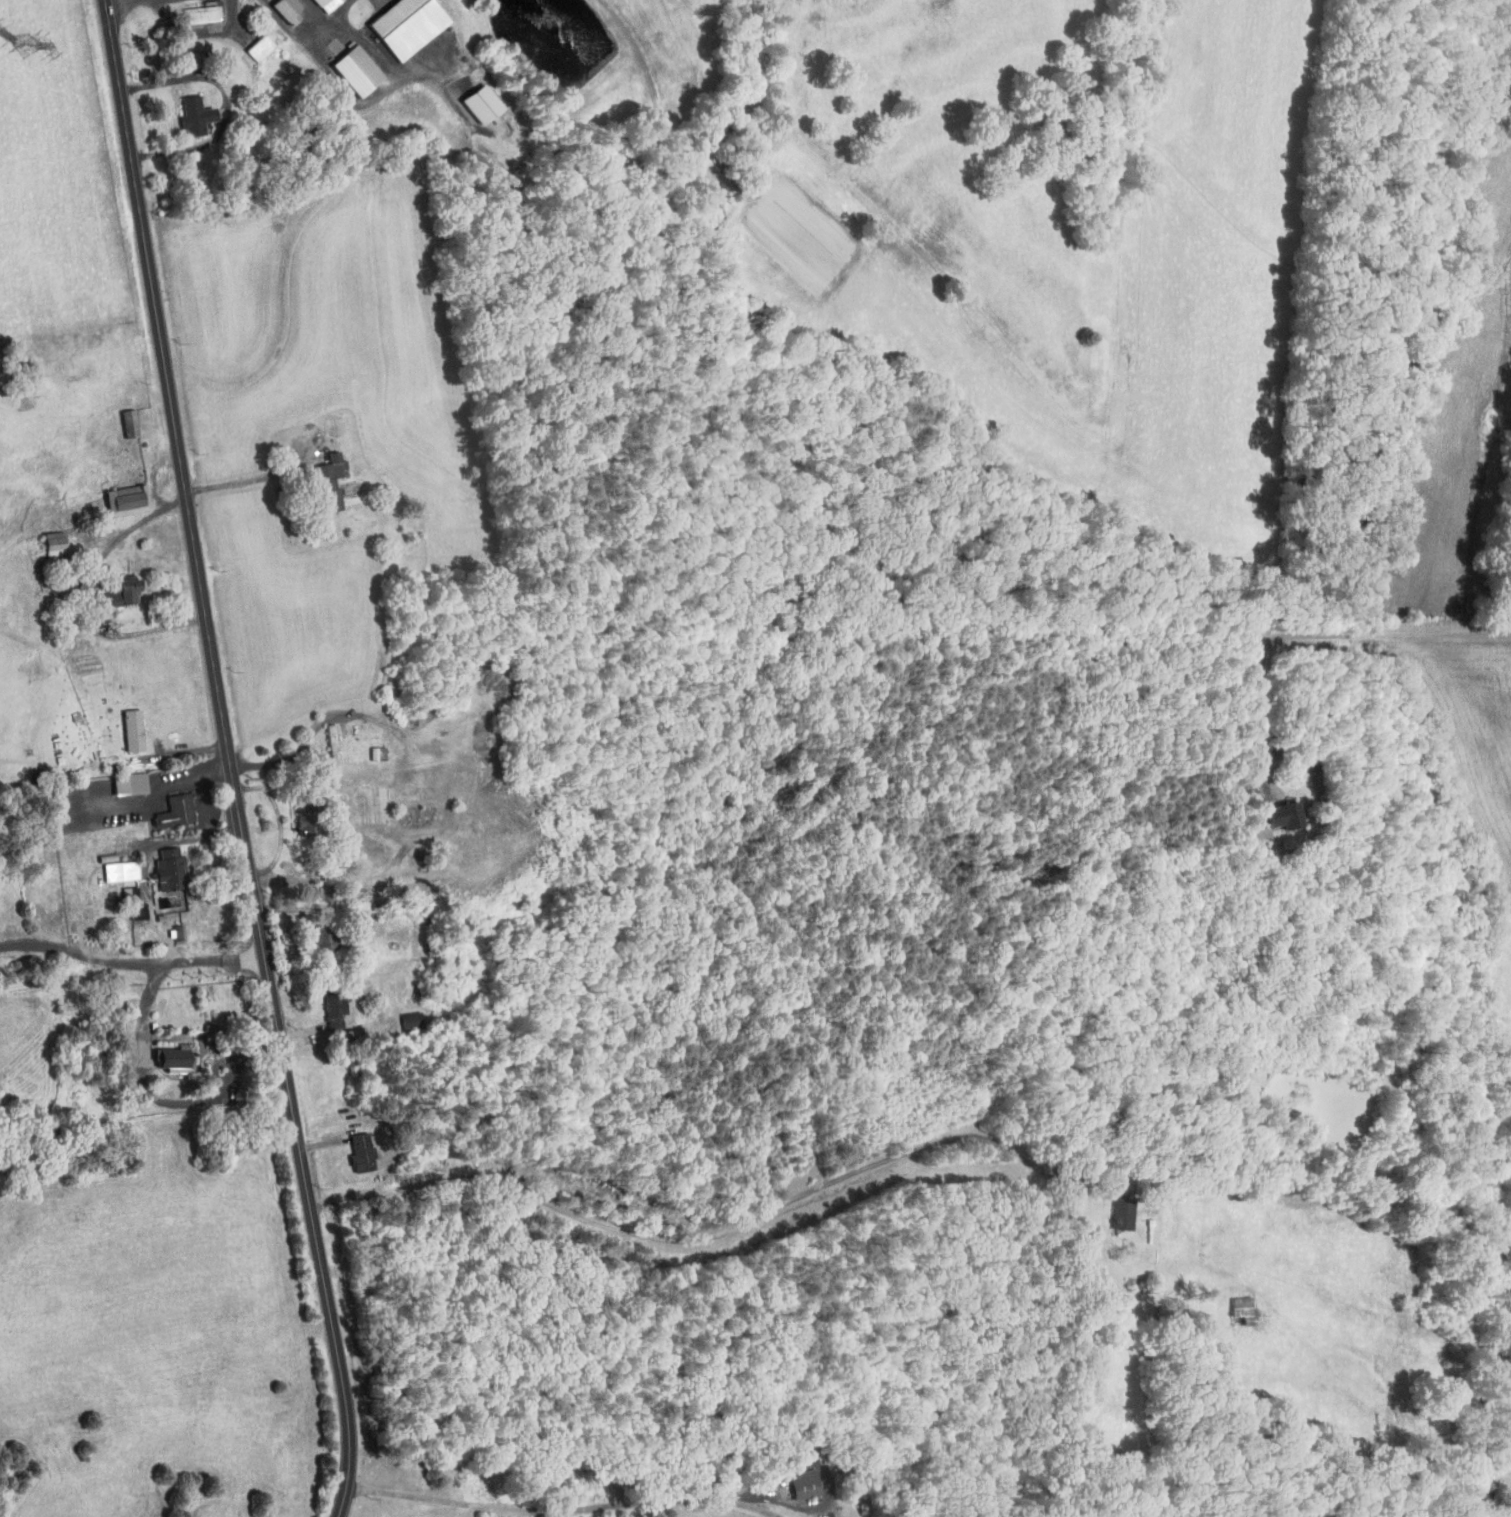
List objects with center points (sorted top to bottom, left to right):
building: (323, 4)
building: (283, 10)
road: (344, 12)
building: (201, 14)
building: (401, 25)
road: (292, 27)
power tower: (26, 45)
building: (255, 47)
road: (373, 48)
building: (353, 70)
building: (478, 102)
road: (229, 103)
building: (192, 114)
road: (149, 421)
building: (126, 422)
building: (326, 482)
road: (256, 484)
building: (122, 499)
building: (50, 542)
building: (121, 590)
road: (87, 598)
road: (1319, 634)
building: (130, 729)
building: (330, 743)
road: (298, 750)
road: (230, 759)
building: (125, 782)
road: (152, 796)
road: (208, 803)
building: (173, 811)
building: (1280, 814)
road: (275, 828)
building: (117, 869)
building: (166, 869)
road: (354, 876)
building: (132, 903)
road: (288, 946)
road: (132, 957)
road: (306, 1008)
building: (334, 1013)
building: (159, 1064)
road: (321, 1079)
road: (160, 1099)
building: (358, 1152)
road: (333, 1157)
road: (797, 1167)
building: (1120, 1217)
road: (732, 1227)
road: (593, 1241)
road: (355, 1272)
building: (1237, 1311)
road: (378, 1463)
building: (800, 1482)
road: (563, 1511)

